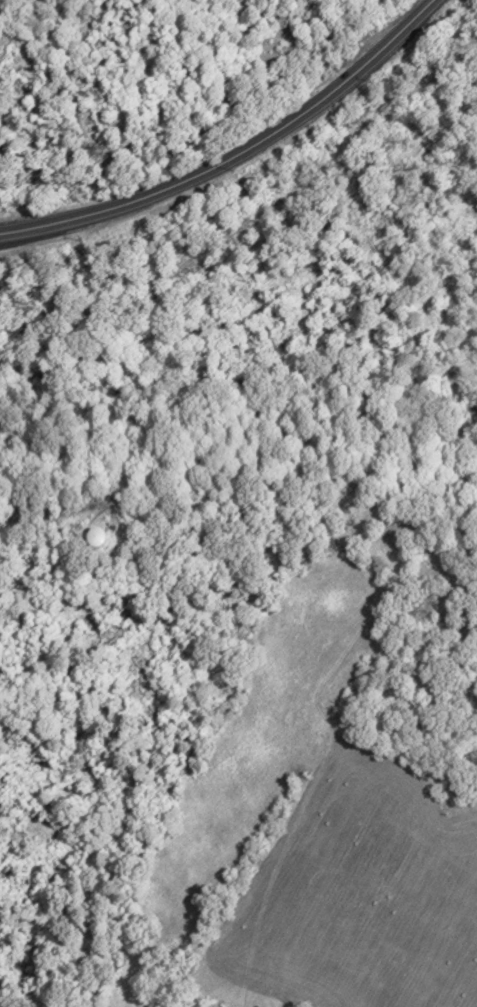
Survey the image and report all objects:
road: (233, 152)

